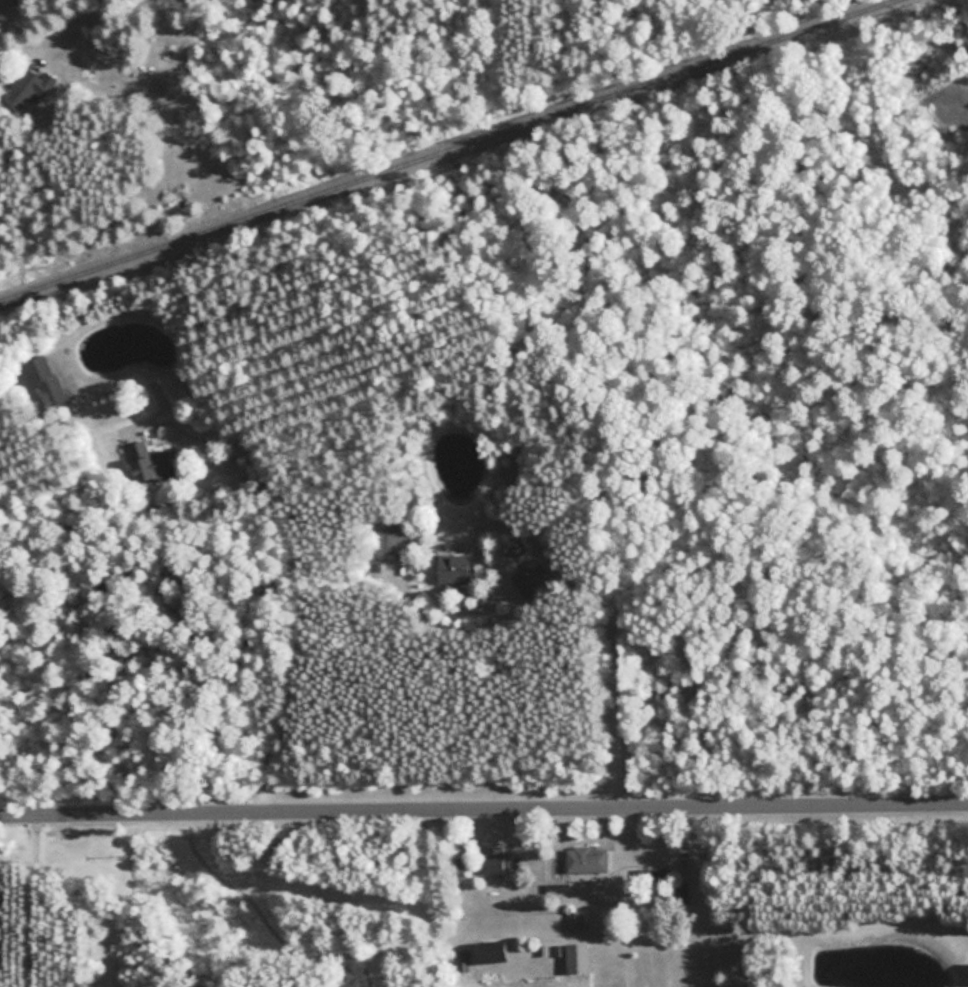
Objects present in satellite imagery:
building: (28, 87)
railway: (461, 154)
building: (44, 381)
building: (148, 462)
building: (390, 542)
building: (453, 568)
building: (530, 580)
road: (483, 808)
building: (586, 859)
building: (678, 890)
road: (34, 902)
building: (492, 951)
building: (577, 957)

